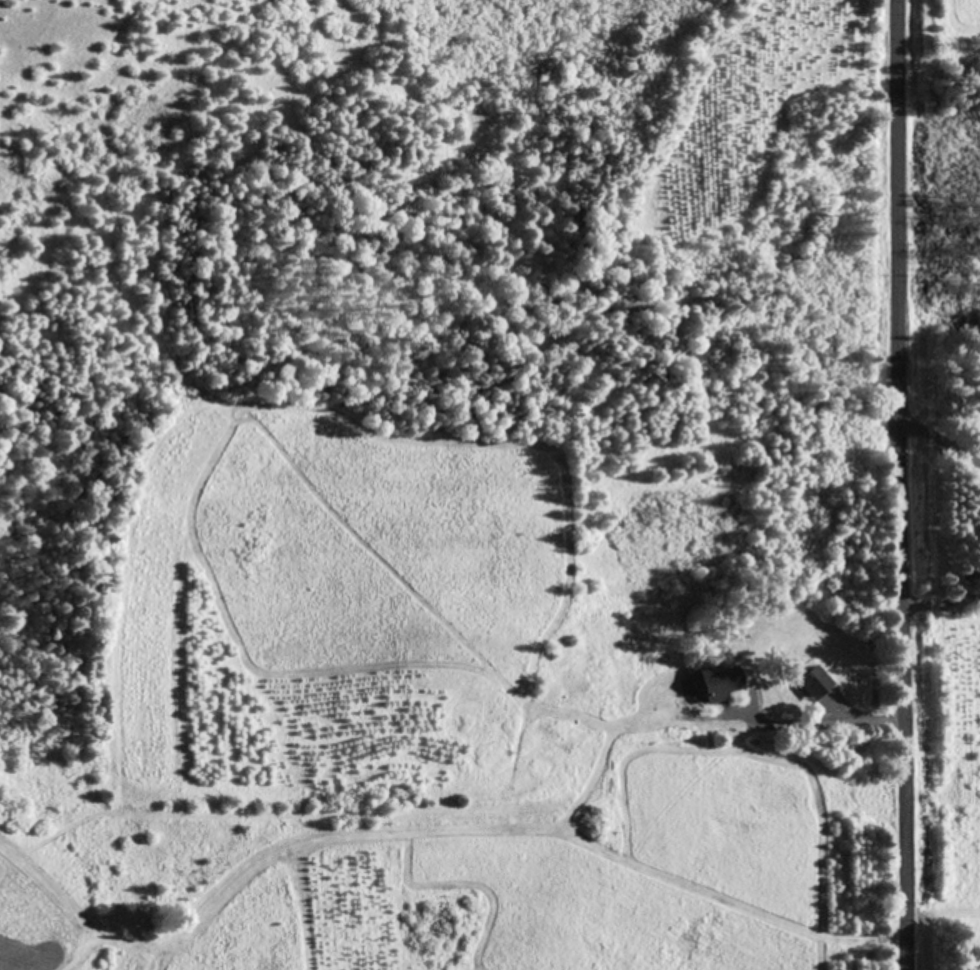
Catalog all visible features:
road: (967, 15)
road: (877, 485)
building: (721, 680)
building: (816, 681)

